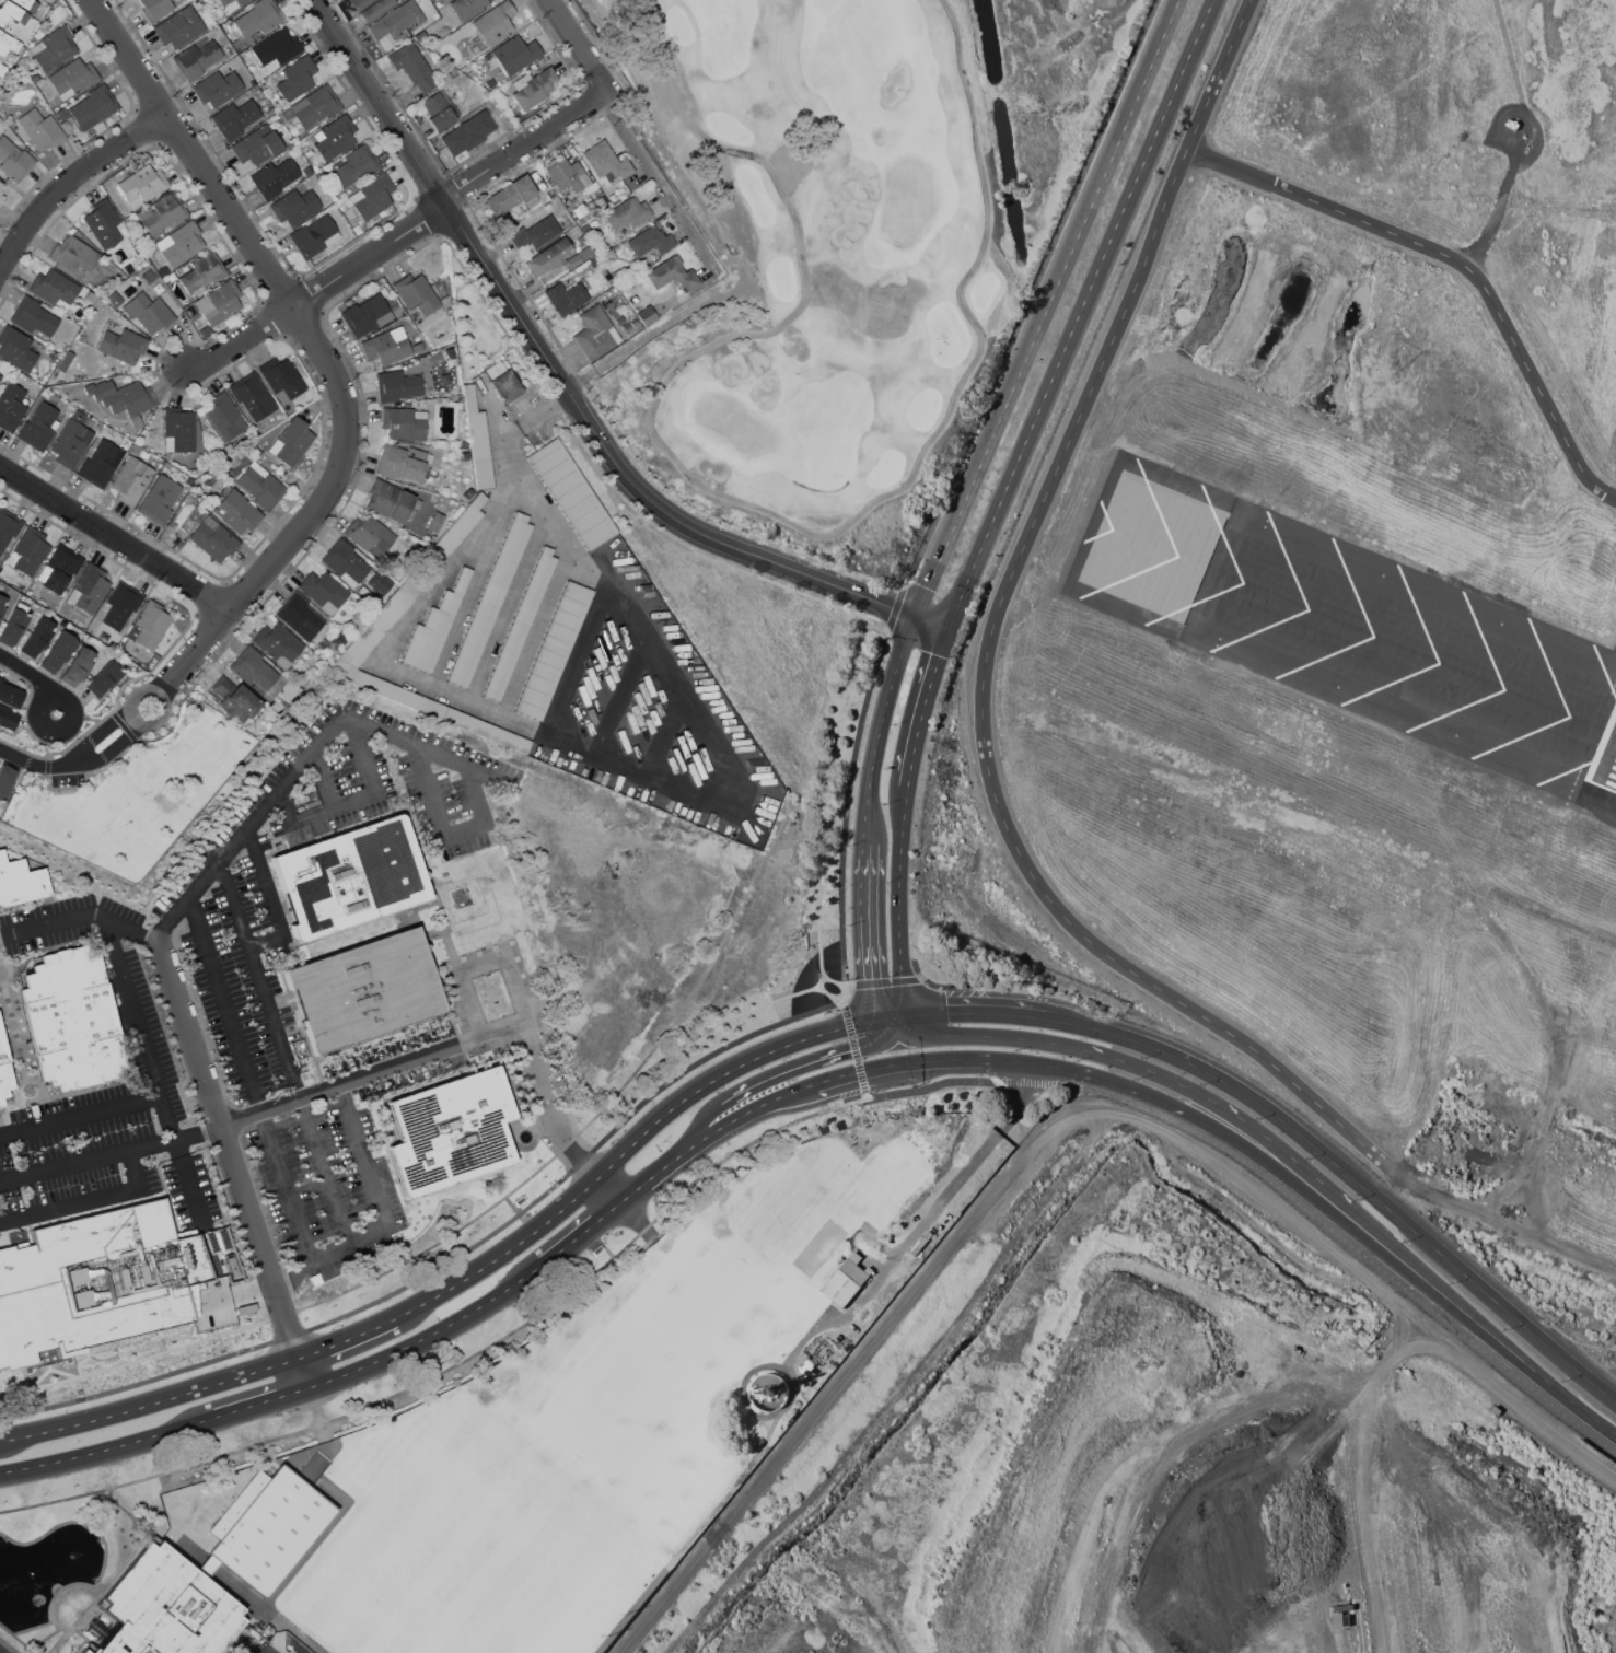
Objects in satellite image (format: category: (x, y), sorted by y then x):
building: (231, 3)
building: (27, 4)
building: (371, 8)
building: (467, 8)
building: (155, 9)
building: (12, 12)
building: (258, 18)
building: (396, 20)
building: (492, 25)
building: (179, 27)
building: (421, 35)
building: (8, 43)
road: (581, 45)
building: (53, 48)
building: (277, 49)
building: (512, 55)
building: (198, 59)
building: (412, 67)
building: (2, 69)
building: (35, 78)
building: (73, 78)
building: (295, 78)
building: (218, 86)
building: (533, 86)
building: (315, 107)
building: (94, 108)
building: (269, 112)
building: (439, 113)
building: (62, 114)
building: (234, 118)
building: (40, 129)
building: (468, 132)
river: (1004, 133)
building: (335, 138)
building: (257, 145)
building: (14, 160)
building: (606, 161)
building: (356, 166)
building: (568, 175)
building: (274, 177)
road: (72, 183)
building: (1, 185)
building: (142, 185)
park: (882, 185)
road: (662, 186)
building: (510, 195)
building: (1, 197)
building: (372, 197)
building: (294, 206)
building: (627, 213)
building: (163, 214)
road: (991, 214)
building: (103, 223)
building: (536, 232)
building: (314, 236)
road: (403, 237)
building: (650, 241)
building: (181, 244)
building: (74, 254)
building: (554, 258)
road: (1456, 260)
building: (202, 272)
building: (672, 275)
building: (53, 287)
building: (416, 293)
building: (91, 296)
building: (567, 298)
building: (114, 299)
building: (219, 302)
road: (1028, 304)
road: (1048, 309)
building: (149, 311)
road: (1083, 314)
building: (365, 315)
building: (647, 315)
building: (33, 316)
building: (198, 321)
building: (595, 333)
building: (123, 345)
building: (386, 346)
building: (16, 348)
road: (322, 351)
road: (559, 373)
building: (0, 375)
building: (281, 377)
building: (397, 385)
building: (504, 386)
building: (121, 396)
building: (252, 396)
building: (11, 407)
building: (223, 417)
building: (136, 422)
building: (404, 422)
building: (38, 427)
building: (178, 429)
building: (477, 440)
building: (71, 441)
building: (291, 441)
building: (101, 463)
building: (403, 463)
building: (131, 480)
building: (260, 486)
building: (571, 493)
building: (159, 500)
building: (388, 500)
building: (236, 512)
building: (435, 522)
building: (8, 527)
building: (369, 535)
road: (117, 538)
building: (213, 539)
building: (30, 551)
building: (345, 562)
building: (59, 569)
building: (379, 582)
building: (90, 589)
building: (323, 591)
building: (490, 601)
building: (2, 605)
building: (120, 605)
building: (299, 616)
road: (933, 624)
building: (149, 625)
building: (521, 625)
building: (13, 626)
building: (376, 628)
building: (434, 628)
building: (37, 637)
building: (278, 643)
building: (554, 650)
building: (57, 651)
road: (578, 663)
building: (77, 666)
building: (253, 671)
road: (36, 676)
building: (105, 677)
building: (10, 695)
road: (619, 696)
building: (234, 698)
road: (509, 702)
road: (162, 705)
road: (928, 708)
building: (8, 719)
road: (883, 729)
road: (326, 733)
airport runway: (1612, 733)
road: (665, 734)
road: (358, 759)
road: (72, 765)
road: (721, 765)
road: (988, 773)
building: (5, 782)
road: (325, 783)
road: (427, 788)
road: (472, 791)
road: (826, 791)
road: (522, 810)
road: (287, 812)
road: (845, 824)
road: (315, 825)
airport: (1479, 826)
road: (464, 827)
building: (350, 876)
building: (21, 881)
road: (902, 885)
road: (270, 889)
road: (80, 913)
road: (870, 915)
road: (266, 939)
road: (836, 981)
building: (365, 990)
road: (902, 1001)
road: (883, 1003)
road: (225, 1005)
road: (970, 1014)
building: (72, 1017)
traffic signals: (897, 1020)
road: (990, 1037)
road: (284, 1056)
road: (925, 1061)
road: (811, 1064)
road: (1055, 1067)
building: (4, 1069)
road: (381, 1070)
road: (1097, 1076)
road: (164, 1110)
road: (1229, 1111)
road: (80, 1114)
road: (730, 1125)
building: (451, 1131)
road: (198, 1134)
road: (691, 1142)
road: (635, 1145)
road: (1244, 1148)
road: (572, 1149)
road: (86, 1161)
road: (234, 1167)
road: (967, 1167)
road: (132, 1171)
road: (1350, 1175)
road: (282, 1186)
road: (641, 1190)
road: (377, 1196)
road: (69, 1207)
road: (1300, 1209)
road: (452, 1235)
road: (585, 1237)
road: (457, 1260)
road: (292, 1276)
building: (845, 1282)
building: (89, 1288)
road: (219, 1304)
road: (1483, 1322)
road: (432, 1338)
road: (520, 1338)
road: (1478, 1338)
road: (349, 1340)
park: (656, 1355)
road: (151, 1405)
road: (264, 1406)
road: (108, 1451)
park: (673, 1491)
park: (518, 1524)
park: (271, 1526)
building: (266, 1528)
park: (399, 1596)
building: (166, 1607)
building: (1340, 1618)
parking lot: (266, 1649)
building: (83, 1651)

